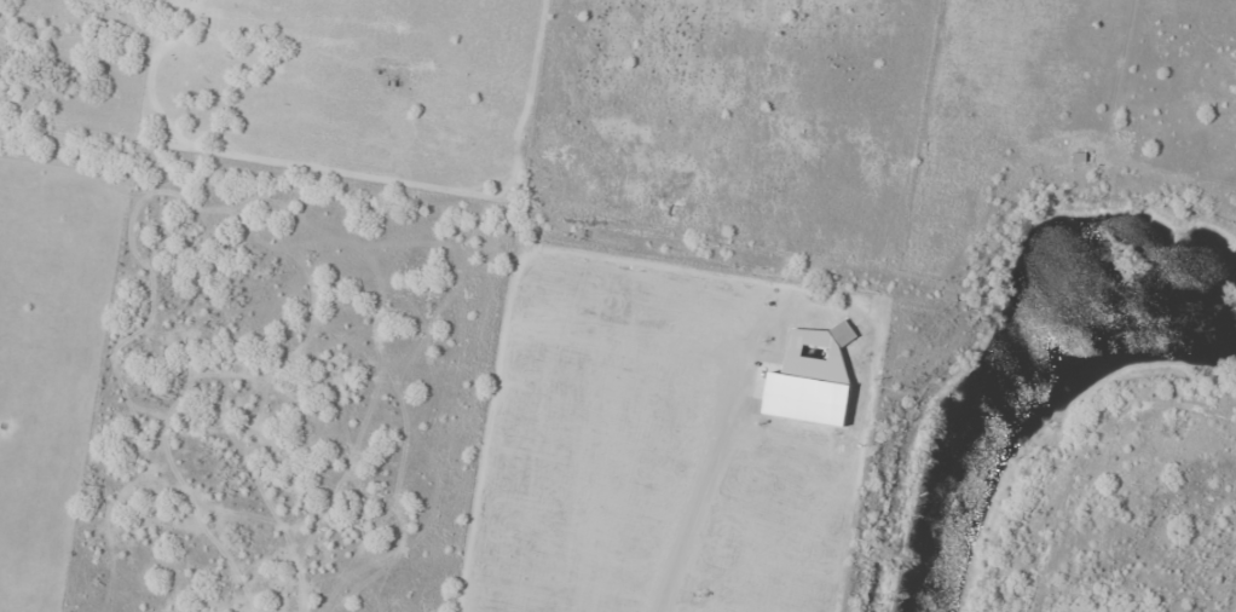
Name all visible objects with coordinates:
building: (842, 334)

